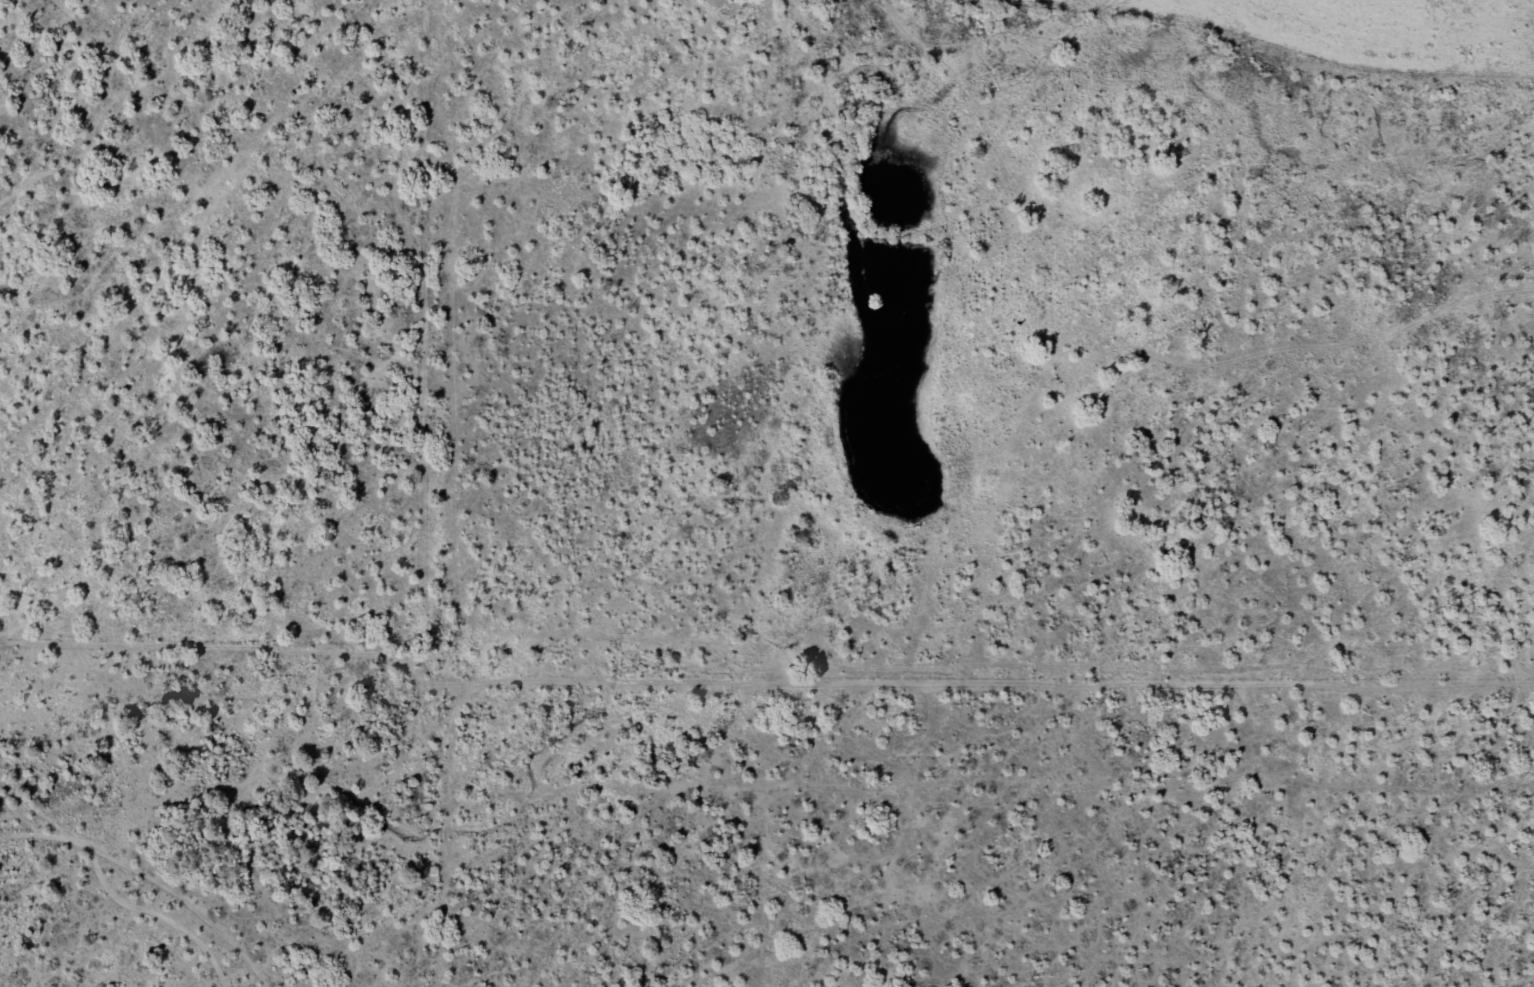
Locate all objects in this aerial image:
road: (159, 871)

